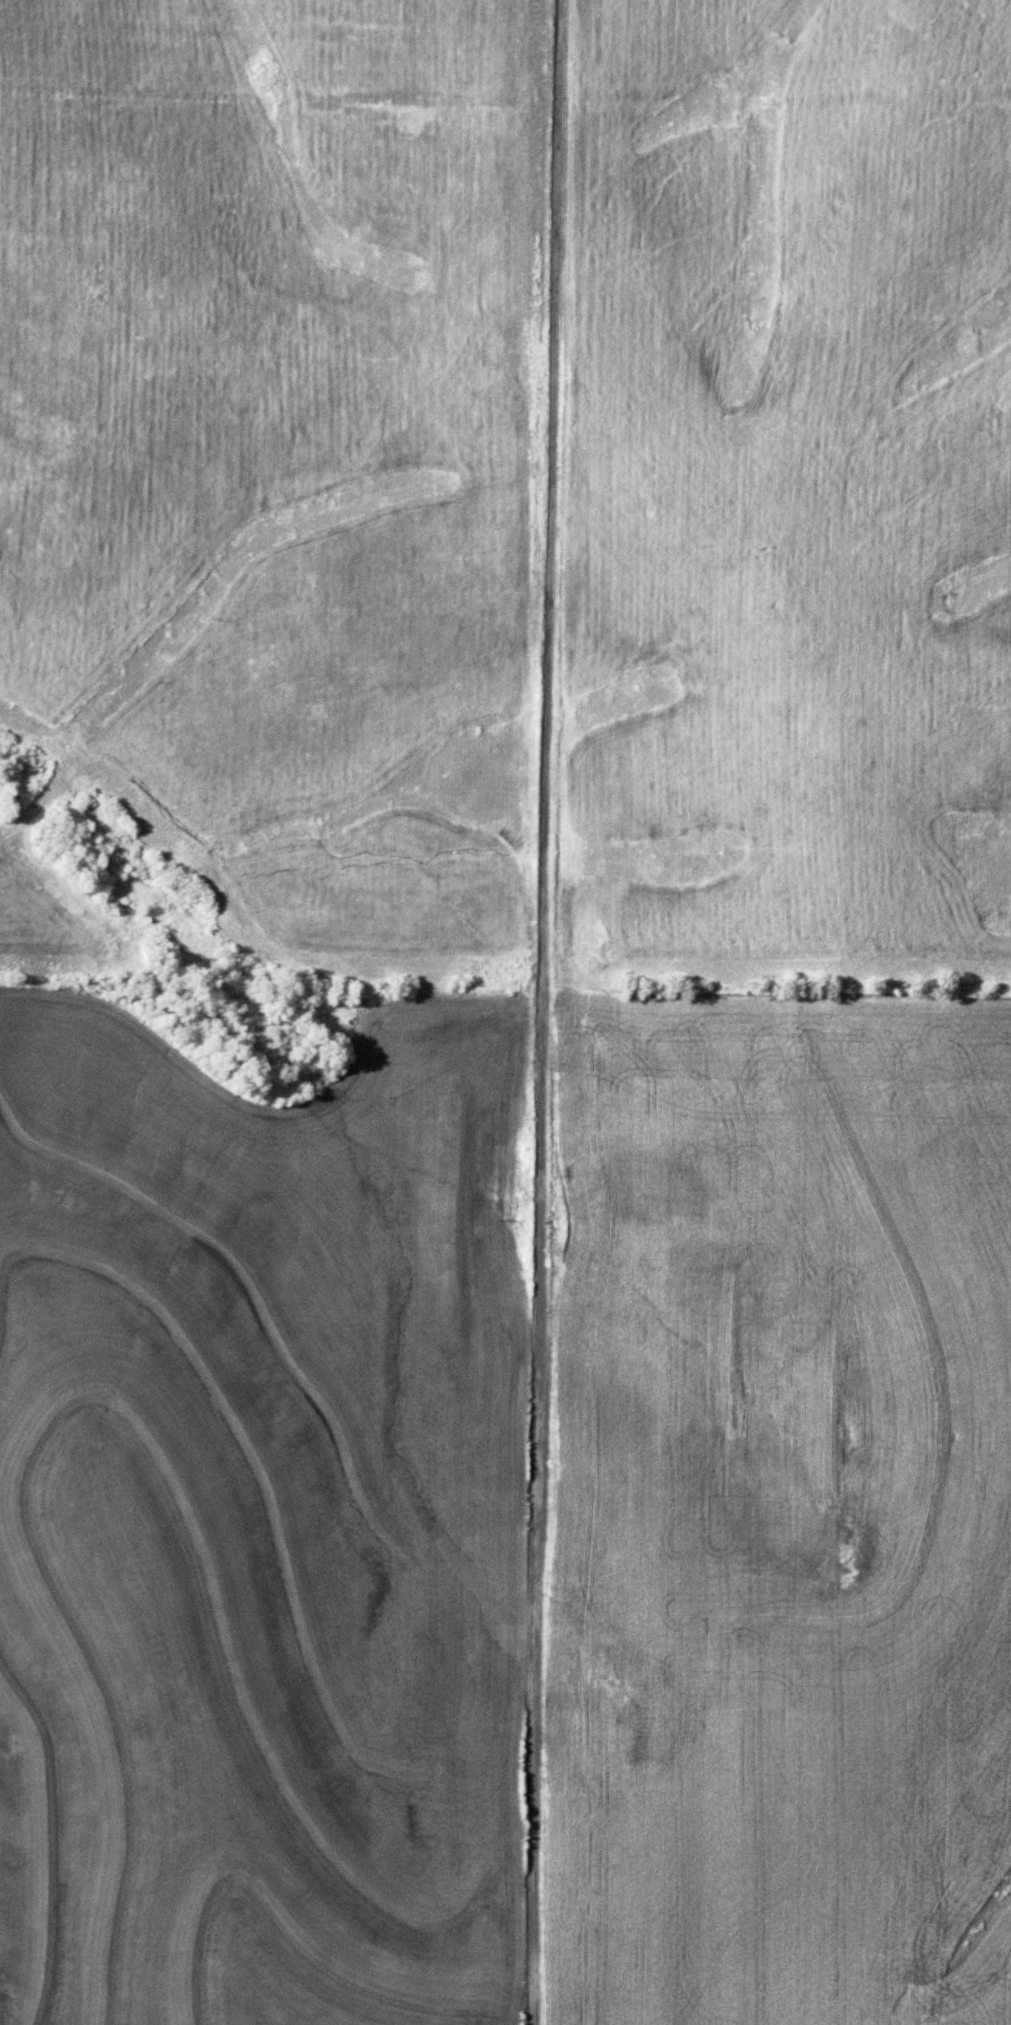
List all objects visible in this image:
road: (545, 1012)

